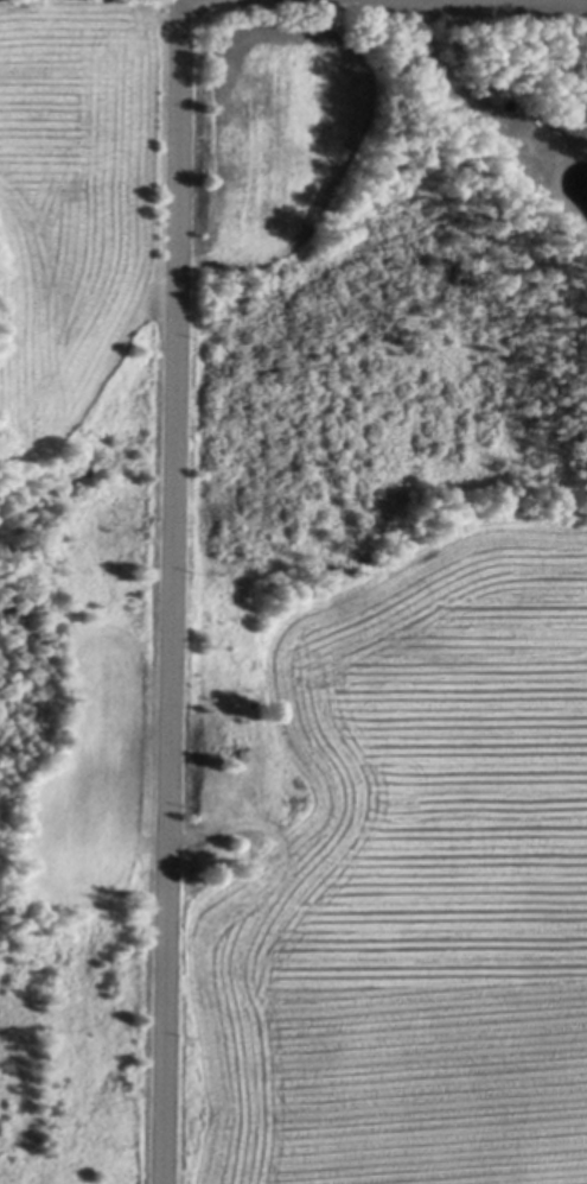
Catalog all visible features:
road: (170, 591)

